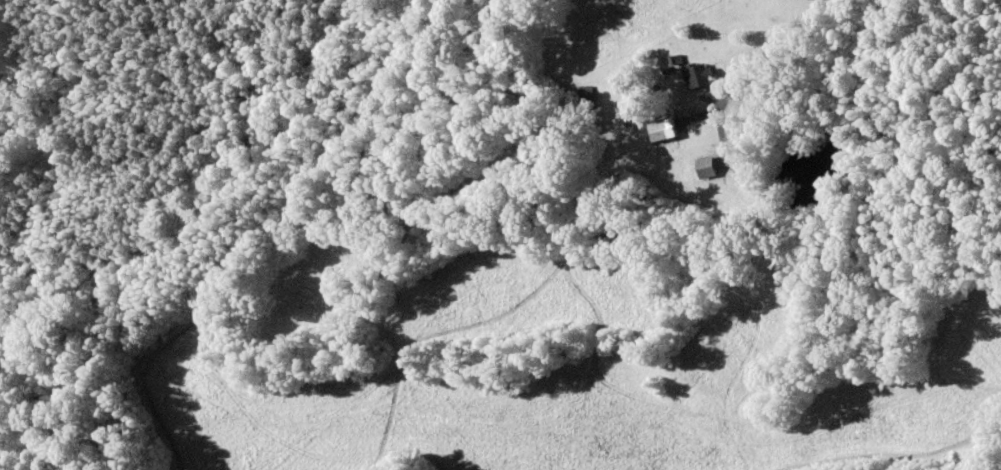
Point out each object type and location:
building: (698, 76)
building: (661, 131)
building: (705, 168)

